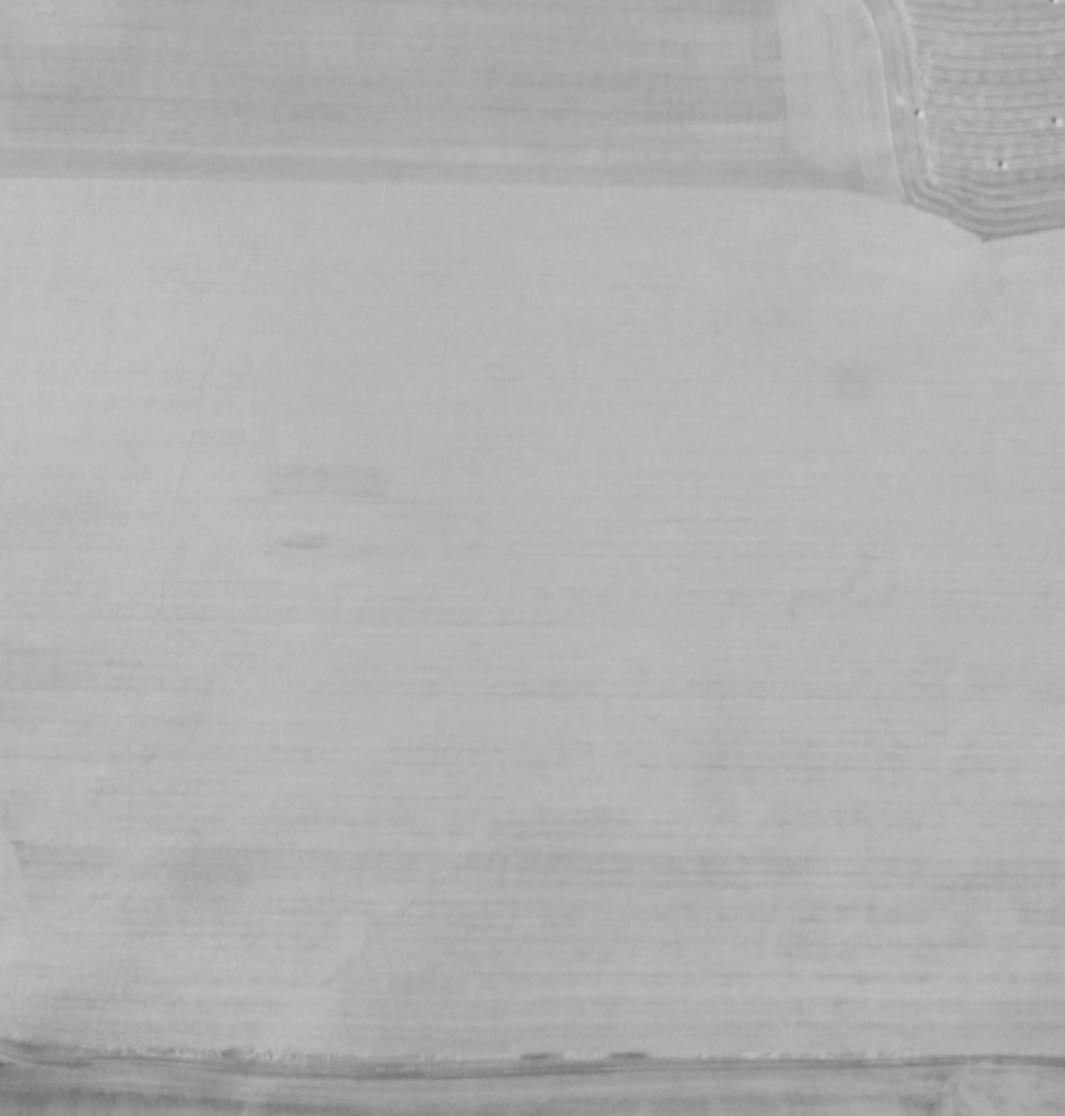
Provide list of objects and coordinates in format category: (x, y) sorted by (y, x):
road: (532, 1065)

